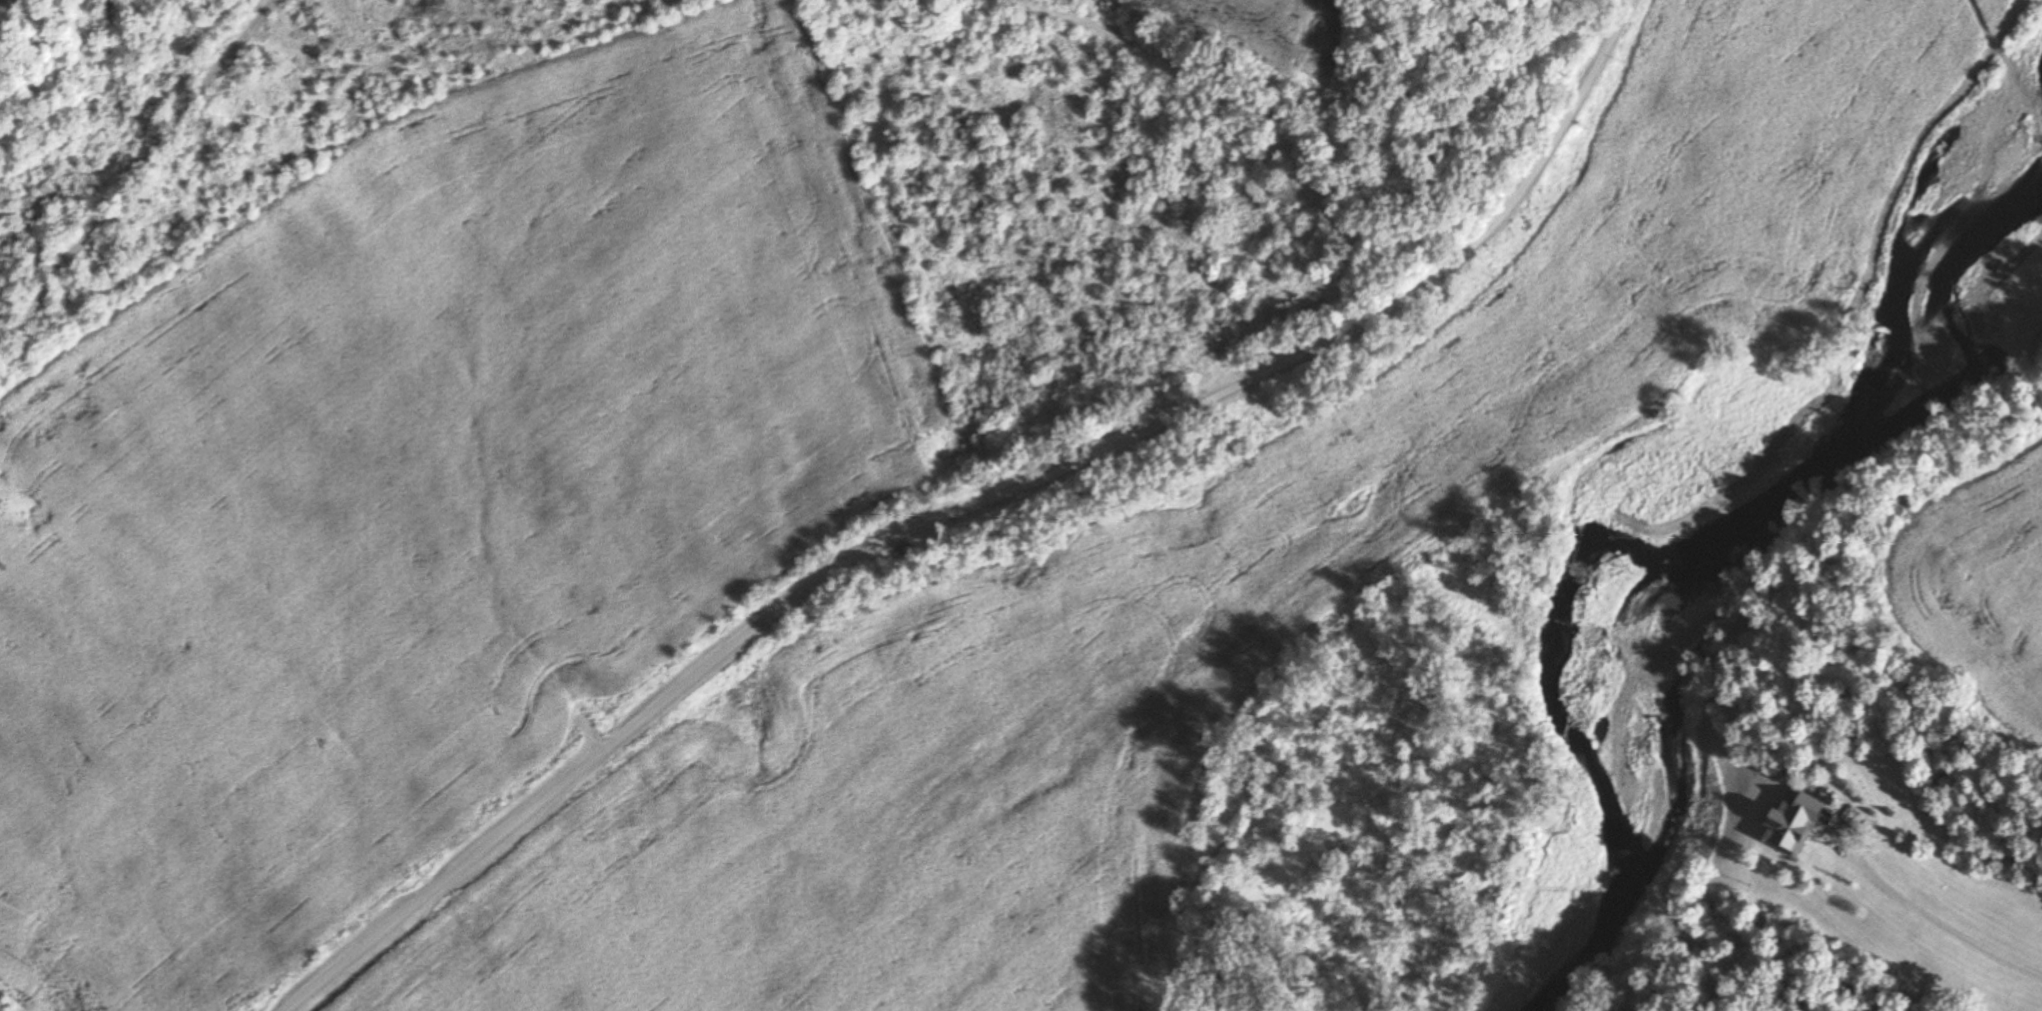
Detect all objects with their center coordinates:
road: (975, 504)
river: (1708, 530)
building: (1797, 824)
road: (1941, 923)

